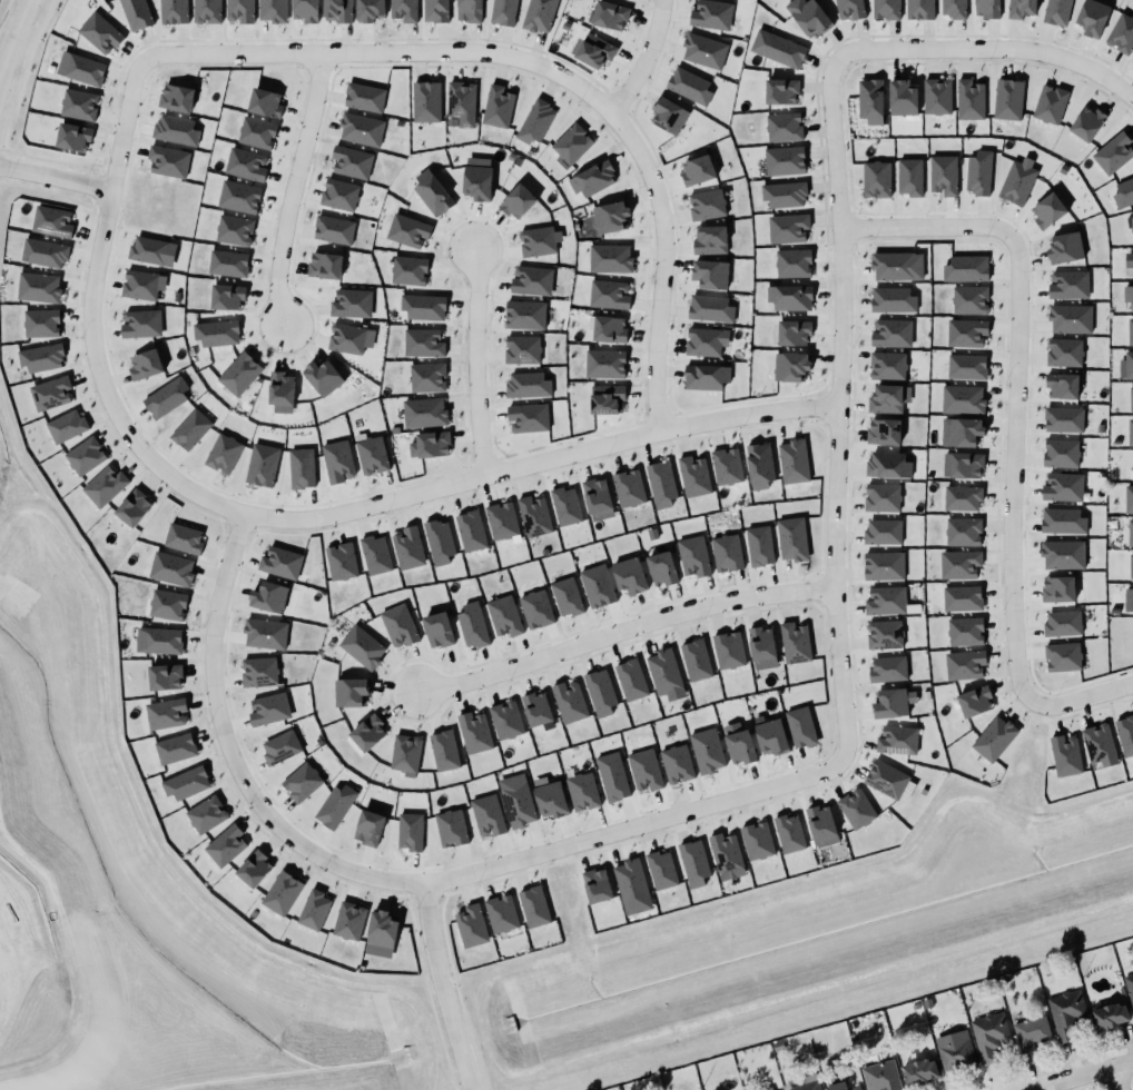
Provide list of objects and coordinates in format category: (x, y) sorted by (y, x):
building: (885, 8)
building: (918, 8)
building: (954, 8)
building: (988, 8)
building: (1022, 8)
building: (467, 9)
building: (850, 9)
building: (273, 10)
building: (306, 10)
building: (337, 10)
building: (370, 10)
building: (404, 10)
building: (436, 10)
building: (1055, 10)
building: (174, 11)
building: (207, 11)
building: (239, 11)
building: (504, 12)
building: (136, 13)
building: (540, 14)
building: (609, 14)
building: (710, 14)
building: (808, 16)
building: (1093, 17)
building: (99, 32)
building: (1122, 33)
road: (13, 38)
building: (702, 49)
building: (778, 49)
road: (989, 49)
building: (595, 50)
road: (385, 52)
road: (644, 60)
building: (85, 69)
building: (689, 86)
building: (780, 89)
building: (936, 93)
building: (175, 95)
building: (900, 96)
building: (364, 97)
building: (1007, 97)
building: (968, 98)
building: (869, 99)
building: (426, 101)
building: (1048, 101)
building: (265, 102)
building: (461, 103)
building: (79, 105)
building: (497, 107)
building: (669, 115)
building: (535, 121)
building: (1086, 121)
building: (359, 127)
building: (784, 127)
building: (175, 131)
building: (256, 132)
building: (73, 137)
building: (571, 145)
building: (1114, 152)
building: (351, 159)
building: (168, 160)
building: (784, 161)
building: (246, 163)
building: (698, 170)
building: (978, 172)
building: (943, 175)
building: (875, 176)
building: (909, 177)
road: (56, 178)
building: (592, 179)
building: (1018, 181)
building: (477, 182)
road: (293, 189)
building: (1124, 192)
building: (432, 194)
building: (785, 194)
building: (238, 195)
building: (339, 195)
building: (518, 201)
building: (705, 202)
building: (1048, 210)
building: (609, 215)
building: (52, 221)
building: (786, 226)
road: (926, 227)
building: (1131, 227)
building: (333, 228)
building: (235, 229)
building: (407, 230)
building: (535, 239)
building: (710, 239)
building: (1065, 247)
building: (152, 251)
building: (45, 252)
building: (610, 258)
building: (228, 262)
building: (324, 262)
building: (794, 262)
road: (662, 265)
building: (897, 266)
building: (966, 268)
building: (410, 270)
building: (710, 274)
building: (531, 278)
building: (139, 284)
building: (1068, 285)
building: (38, 287)
building: (608, 293)
building: (226, 295)
building: (788, 295)
building: (1129, 295)
building: (891, 297)
building: (969, 300)
building: (351, 303)
building: (424, 306)
building: (710, 308)
building: (525, 315)
building: (1070, 316)
road: (91, 317)
building: (39, 320)
building: (140, 324)
building: (608, 327)
building: (890, 330)
building: (1130, 330)
building: (215, 331)
building: (794, 331)
building: (966, 331)
building: (349, 337)
building: (422, 340)
building: (706, 341)
building: (522, 349)
building: (1065, 351)
building: (41, 357)
building: (603, 360)
road: (475, 363)
building: (1126, 364)
building: (146, 365)
building: (791, 366)
building: (886, 366)
building: (966, 366)
building: (239, 371)
building: (322, 375)
building: (705, 375)
building: (427, 377)
building: (528, 385)
building: (1063, 385)
building: (279, 386)
building: (50, 393)
building: (166, 397)
building: (605, 397)
building: (888, 398)
building: (1131, 398)
building: (963, 399)
road: (838, 409)
building: (424, 413)
building: (528, 417)
building: (1062, 418)
building: (66, 426)
building: (189, 428)
building: (884, 430)
building: (960, 432)
building: (1130, 432)
building: (430, 445)
building: (1061, 453)
building: (224, 454)
building: (371, 454)
building: (85, 456)
building: (792, 458)
building: (337, 459)
road: (540, 463)
building: (727, 463)
building: (759, 463)
building: (260, 464)
building: (888, 465)
building: (963, 465)
road: (1012, 465)
building: (302, 468)
building: (694, 475)
building: (659, 483)
building: (625, 485)
building: (105, 486)
building: (1063, 487)
building: (881, 495)
building: (597, 497)
building: (962, 497)
building: (1127, 497)
building: (564, 504)
building: (134, 507)
building: (532, 513)
building: (501, 518)
building: (1063, 521)
building: (469, 528)
building: (1130, 531)
building: (883, 532)
building: (963, 532)
building: (184, 538)
building: (792, 538)
building: (437, 539)
building: (759, 545)
building: (406, 547)
building: (372, 552)
building: (727, 553)
building: (1063, 554)
building: (693, 556)
building: (339, 558)
building: (279, 562)
building: (959, 564)
building: (884, 565)
building: (1130, 565)
building: (171, 568)
building: (661, 568)
building: (629, 575)
building: (598, 585)
building: (1058, 588)
building: (268, 593)
building: (566, 596)
building: (1127, 596)
building: (962, 598)
building: (886, 601)
building: (167, 604)
building: (536, 608)
building: (503, 616)
building: (471, 623)
building: (1063, 623)
building: (398, 625)
road: (621, 626)
building: (437, 627)
building: (264, 631)
building: (965, 632)
building: (885, 634)
building: (159, 641)
building: (795, 643)
building: (362, 646)
building: (762, 647)
building: (729, 650)
building: (1062, 653)
building: (696, 660)
building: (965, 664)
building: (258, 668)
building: (888, 668)
building: (663, 672)
building: (165, 676)
building: (630, 678)
building: (352, 692)
building: (601, 692)
road: (1076, 696)
building: (975, 701)
building: (569, 702)
building: (890, 703)
building: (267, 707)
building: (538, 710)
building: (166, 713)
building: (506, 720)
building: (801, 726)
building: (366, 730)
building: (474, 732)
building: (1125, 734)
building: (771, 736)
building: (994, 736)
building: (895, 737)
building: (739, 743)
building: (1098, 743)
building: (279, 745)
building: (175, 749)
building: (444, 750)
building: (707, 751)
building: (404, 752)
road: (230, 753)
building: (1065, 755)
building: (677, 763)
building: (644, 770)
building: (612, 776)
building: (301, 781)
building: (889, 781)
building: (186, 783)
building: (581, 789)
building: (551, 800)
building: (334, 803)
building: (518, 804)
building: (856, 809)
building: (206, 814)
building: (487, 815)
building: (368, 824)
road: (633, 825)
building: (821, 825)
building: (451, 828)
building: (410, 831)
building: (789, 833)
building: (757, 841)
building: (224, 843)
building: (726, 853)
building: (693, 863)
building: (254, 868)
building: (661, 870)
building: (630, 880)
building: (598, 885)
building: (282, 893)
building: (534, 906)
building: (314, 910)
building: (502, 913)
building: (348, 921)
building: (472, 925)
building: (382, 929)
road: (441, 987)
building: (1130, 987)
building: (1066, 1013)
building: (1110, 1015)
building: (1029, 1031)
building: (989, 1035)
building: (956, 1054)
building: (916, 1068)
road: (1076, 1073)
building: (880, 1074)
road: (1125, 1076)
building: (806, 1082)
building: (840, 1086)
building: (772, 1088)

